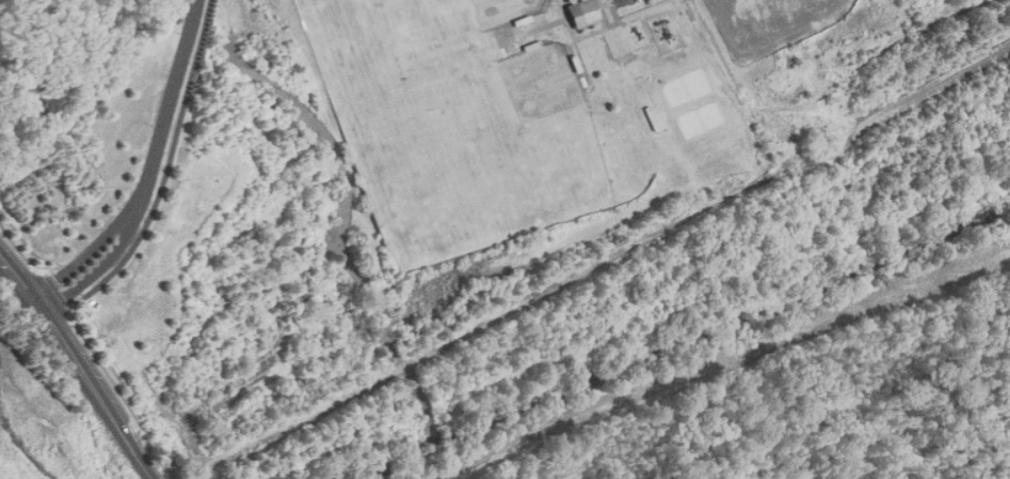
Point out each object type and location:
parking lot: (625, 2)
road: (606, 5)
building: (583, 13)
road: (603, 13)
road: (608, 26)
road: (547, 27)
road: (576, 43)
road: (771, 43)
park: (685, 88)
road: (172, 116)
park: (701, 120)
road: (172, 161)
park: (479, 200)
road: (20, 247)
road: (79, 258)
road: (91, 274)
road: (59, 290)
road: (100, 362)
road: (79, 365)

